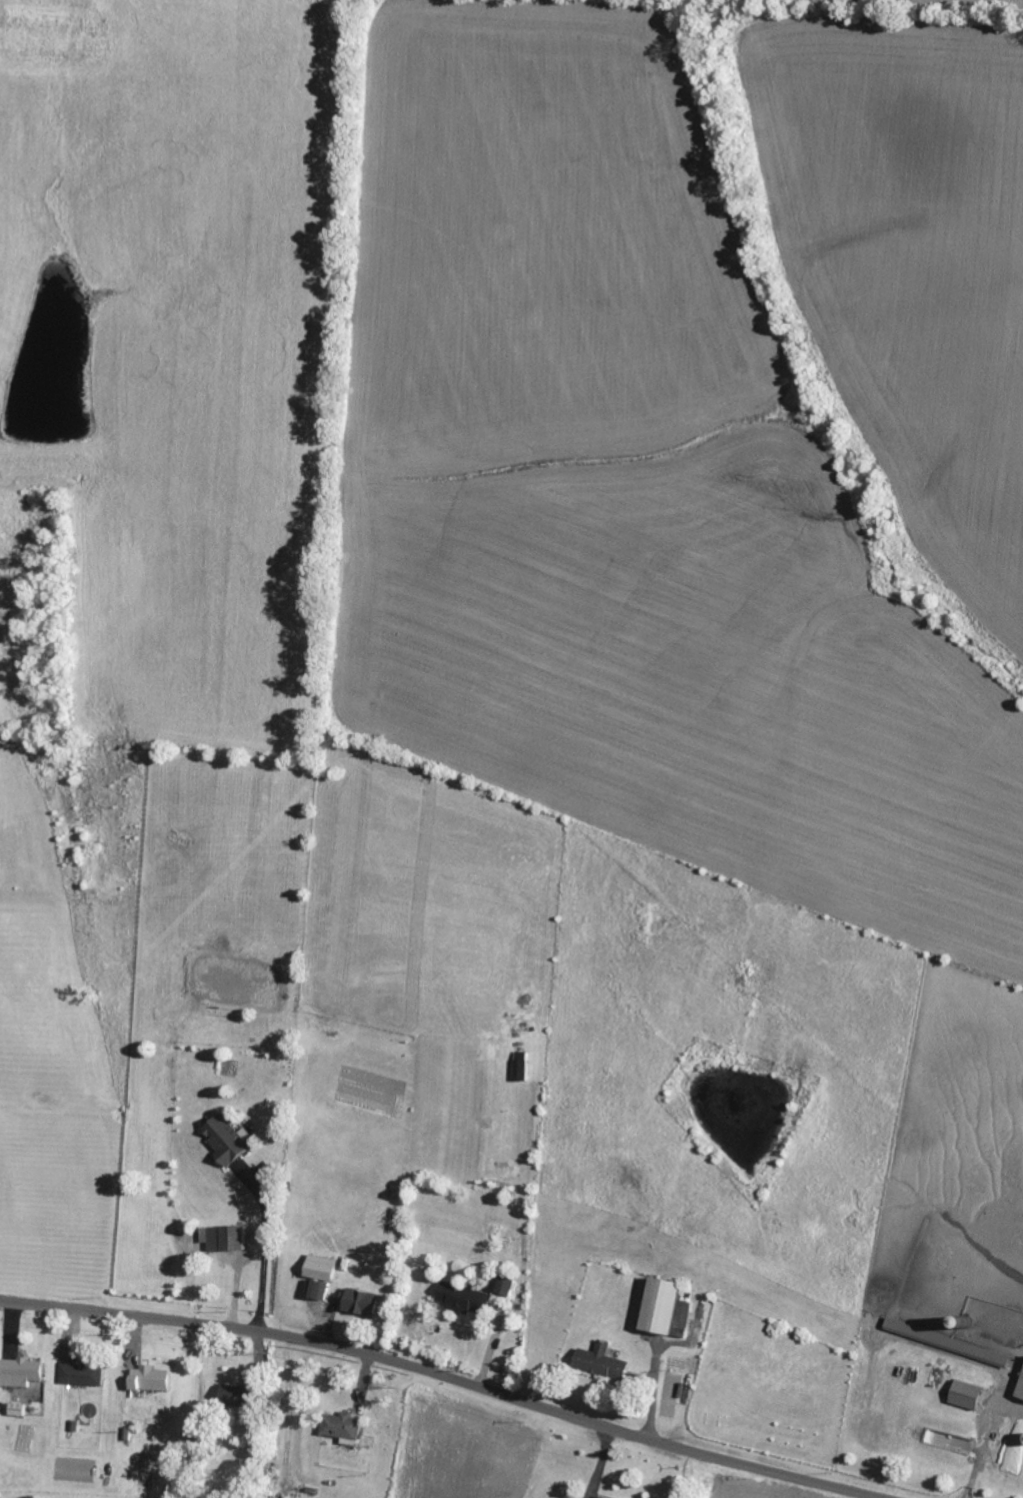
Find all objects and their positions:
building: (525, 1067)
building: (232, 1141)
building: (228, 1239)
building: (326, 1269)
building: (504, 1286)
building: (321, 1290)
building: (468, 1300)
building: (365, 1303)
building: (674, 1309)
building: (607, 1363)
building: (26, 1373)
building: (86, 1375)
road: (451, 1375)
building: (154, 1381)
building: (1022, 1394)
building: (974, 1396)
building: (243, 1398)
building: (347, 1429)

